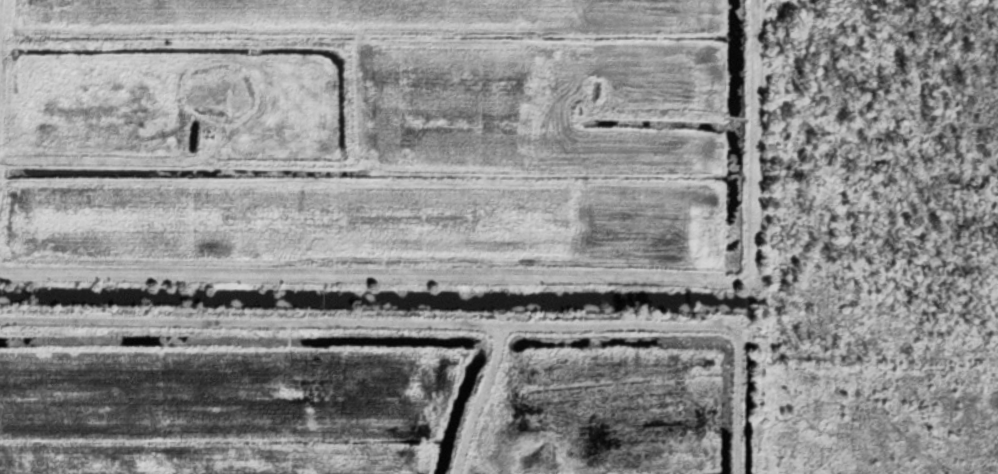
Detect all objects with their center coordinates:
road: (739, 465)

